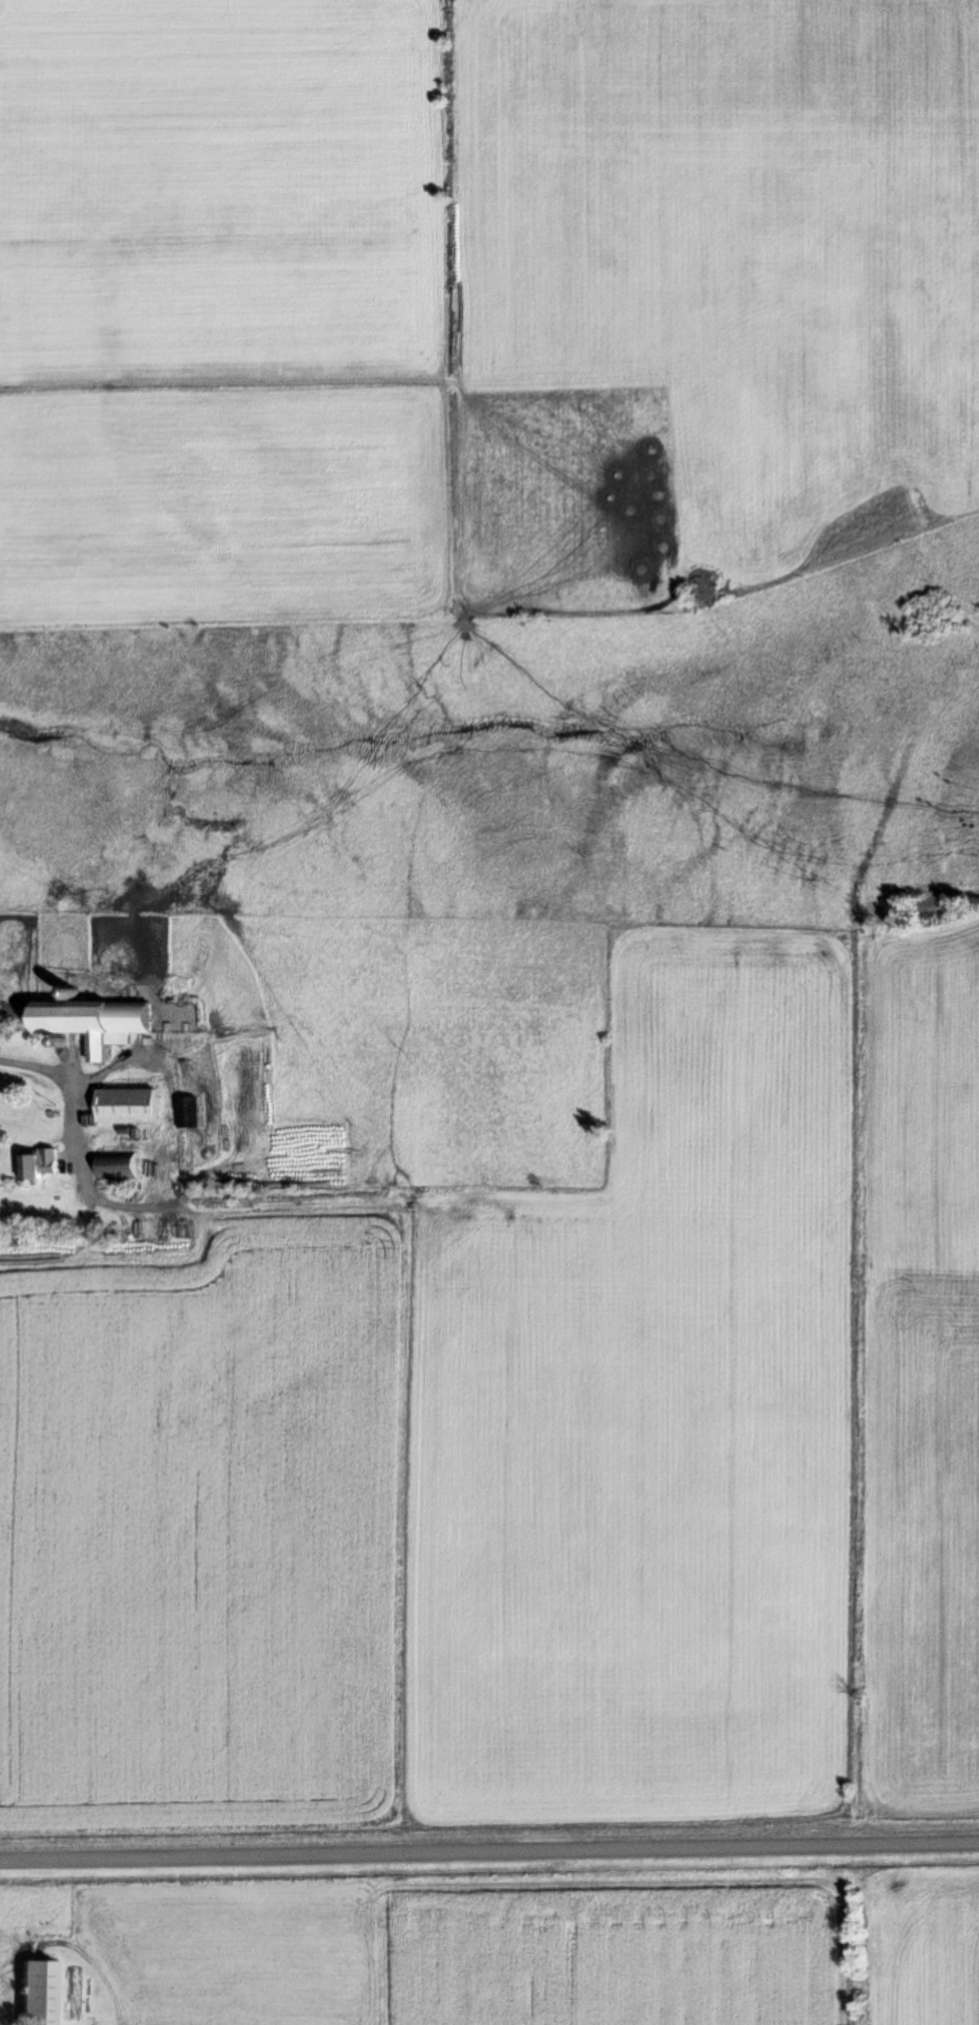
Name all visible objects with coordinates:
building: (98, 1019)
building: (129, 1104)
building: (190, 1111)
building: (40, 1163)
building: (119, 1165)
road: (489, 1851)
building: (38, 1992)

